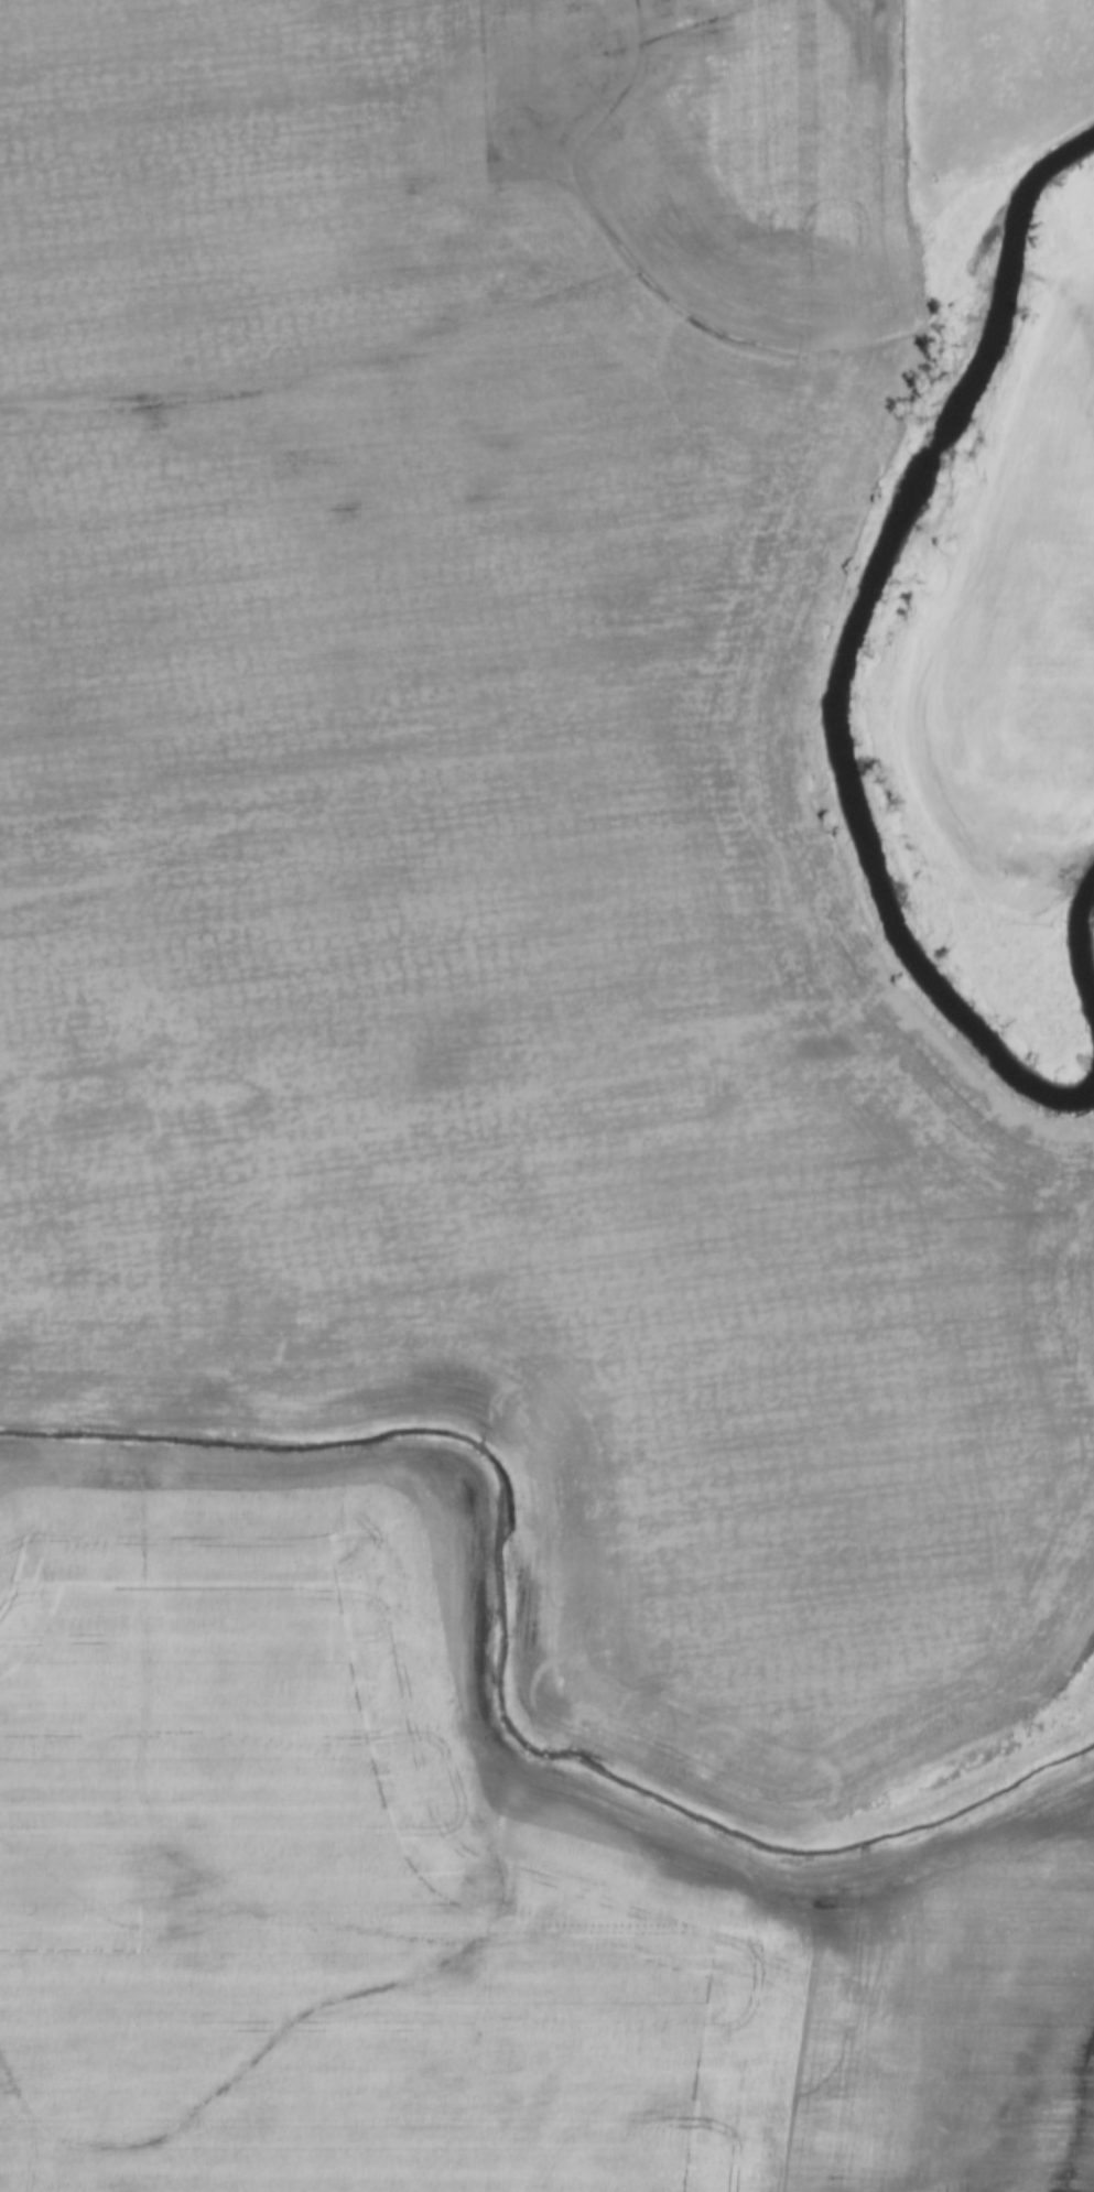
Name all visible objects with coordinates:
river: (849, 644)
river: (1091, 951)

